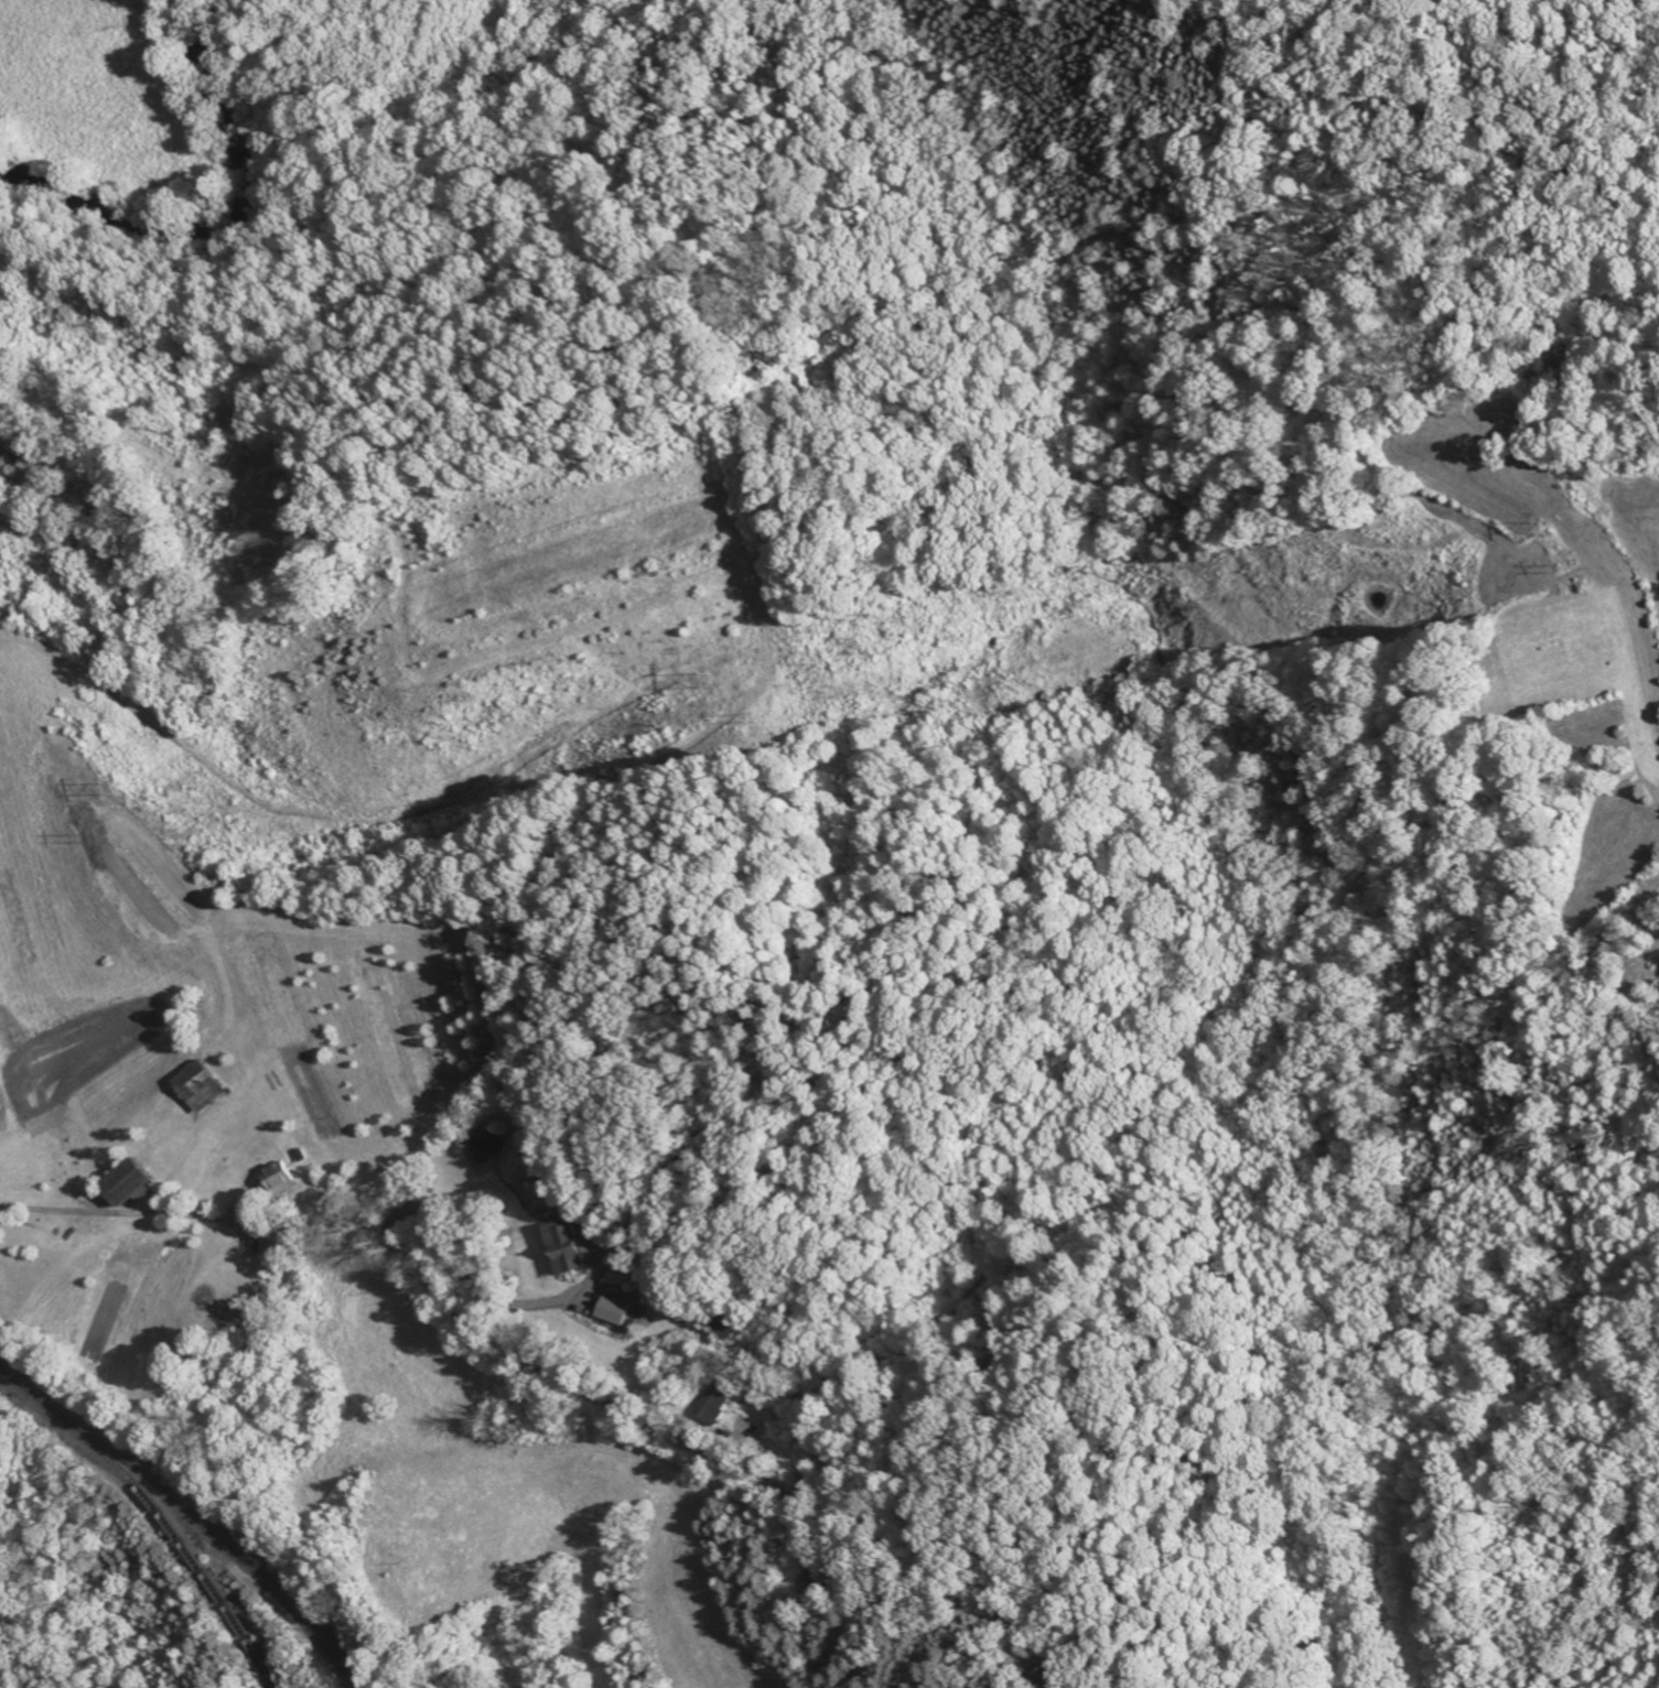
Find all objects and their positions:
power tower: (1545, 524)
power tower: (1555, 564)
power tower: (712, 675)
power tower: (742, 713)
power tower: (119, 783)
power tower: (90, 834)
building: (208, 1088)
building: (286, 1179)
building: (138, 1184)
road: (220, 1222)
building: (571, 1247)
road: (480, 1285)
building: (622, 1312)
building: (718, 1403)
road: (611, 1404)
railway: (194, 1510)
railway: (174, 1526)
road: (1636, 1626)

